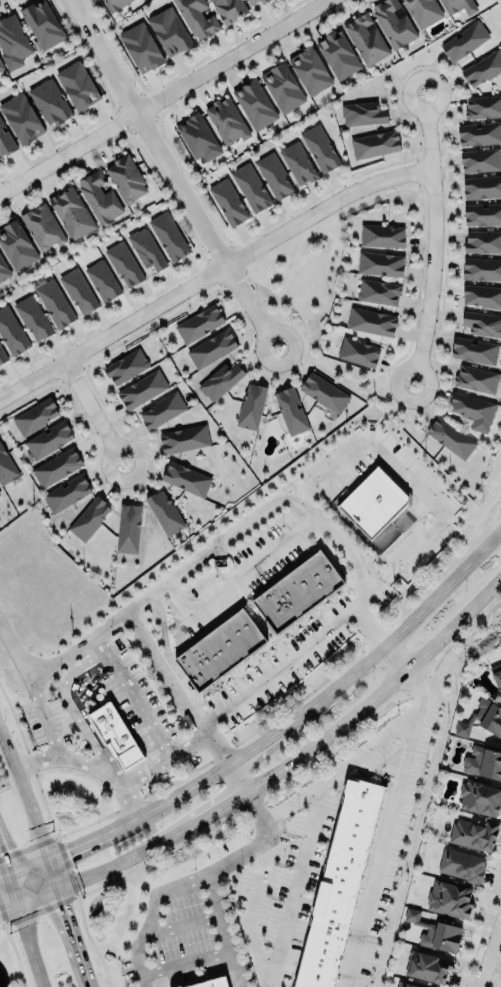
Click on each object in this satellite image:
building: (251, 1)
building: (263, 1)
building: (114, 4)
building: (458, 6)
building: (229, 9)
building: (423, 11)
building: (197, 18)
building: (393, 22)
building: (41, 23)
building: (169, 32)
building: (366, 38)
building: (464, 40)
building: (12, 42)
building: (141, 45)
building: (338, 53)
building: (2, 66)
building: (310, 69)
building: (482, 69)
building: (77, 85)
building: (282, 86)
road: (163, 96)
building: (49, 102)
building: (254, 103)
building: (482, 107)
building: (362, 113)
building: (21, 118)
building: (226, 120)
building: (479, 134)
building: (196, 136)
building: (5, 141)
building: (374, 144)
building: (320, 148)
building: (479, 159)
building: (297, 162)
road: (172, 173)
building: (273, 176)
building: (126, 177)
building: (250, 187)
building: (481, 187)
building: (99, 197)
building: (227, 201)
building: (71, 212)
building: (482, 214)
building: (42, 226)
building: (168, 236)
building: (381, 236)
road: (432, 238)
building: (482, 241)
building: (16, 246)
building: (146, 249)
building: (122, 263)
building: (379, 263)
road: (211, 267)
building: (481, 269)
building: (3, 271)
building: (102, 280)
building: (78, 291)
building: (378, 292)
building: (481, 296)
building: (53, 301)
building: (32, 318)
building: (371, 321)
building: (199, 324)
building: (482, 324)
building: (11, 332)
building: (211, 348)
building: (474, 350)
building: (358, 352)
building: (2, 356)
building: (125, 366)
building: (476, 379)
building: (219, 380)
building: (141, 389)
building: (323, 393)
building: (251, 406)
building: (473, 409)
road: (93, 410)
building: (162, 410)
building: (290, 410)
building: (35, 416)
building: (450, 438)
building: (183, 439)
building: (48, 440)
building: (56, 466)
building: (6, 467)
building: (186, 478)
road: (413, 483)
building: (66, 493)
building: (373, 502)
building: (164, 512)
building: (88, 519)
building: (128, 528)
road: (212, 546)
road: (237, 577)
building: (297, 591)
road: (400, 630)
building: (220, 648)
road: (15, 654)
road: (395, 659)
road: (47, 668)
building: (497, 674)
road: (419, 689)
road: (382, 693)
road: (131, 694)
road: (227, 707)
road: (71, 709)
road: (274, 711)
building: (482, 718)
building: (113, 734)
road: (260, 741)
road: (407, 745)
road: (69, 758)
building: (483, 763)
road: (239, 777)
road: (183, 791)
road: (269, 792)
building: (479, 797)
road: (221, 808)
building: (473, 834)
road: (74, 848)
road: (48, 859)
traffic signals: (49, 860)
road: (4, 864)
building: (462, 865)
road: (107, 868)
traffic signals: (9, 875)
road: (4, 876)
road: (176, 883)
road: (294, 884)
building: (340, 884)
road: (13, 889)
traffic signals: (59, 889)
building: (449, 899)
traffic signals: (18, 904)
road: (9, 906)
road: (216, 909)
road: (249, 913)
road: (81, 922)
road: (179, 925)
building: (435, 932)
road: (32, 945)
road: (12, 946)
road: (489, 953)
park: (11, 958)
road: (185, 963)
building: (427, 966)
road: (231, 969)
building: (210, 983)
building: (404, 985)
building: (178, 986)

